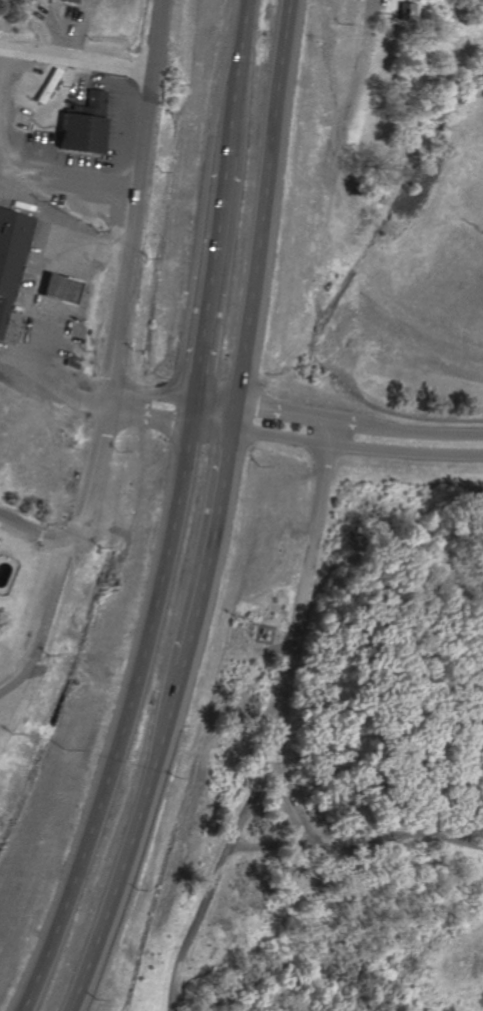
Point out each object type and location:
building: (70, 1)
building: (404, 11)
road: (368, 15)
road: (77, 61)
road: (236, 77)
building: (47, 86)
building: (82, 124)
road: (12, 169)
road: (261, 202)
building: (11, 252)
road: (121, 269)
road: (208, 276)
building: (56, 288)
gas station: (56, 288)
road: (28, 308)
road: (148, 392)
road: (209, 401)
road: (188, 411)
road: (279, 411)
road: (143, 416)
road: (344, 420)
road: (205, 427)
road: (420, 431)
road: (275, 435)
road: (404, 451)
road: (31, 533)
road: (206, 535)
park: (340, 588)
road: (42, 618)
road: (117, 722)
road: (279, 725)
road: (126, 840)
road: (270, 847)
road: (356, 847)

